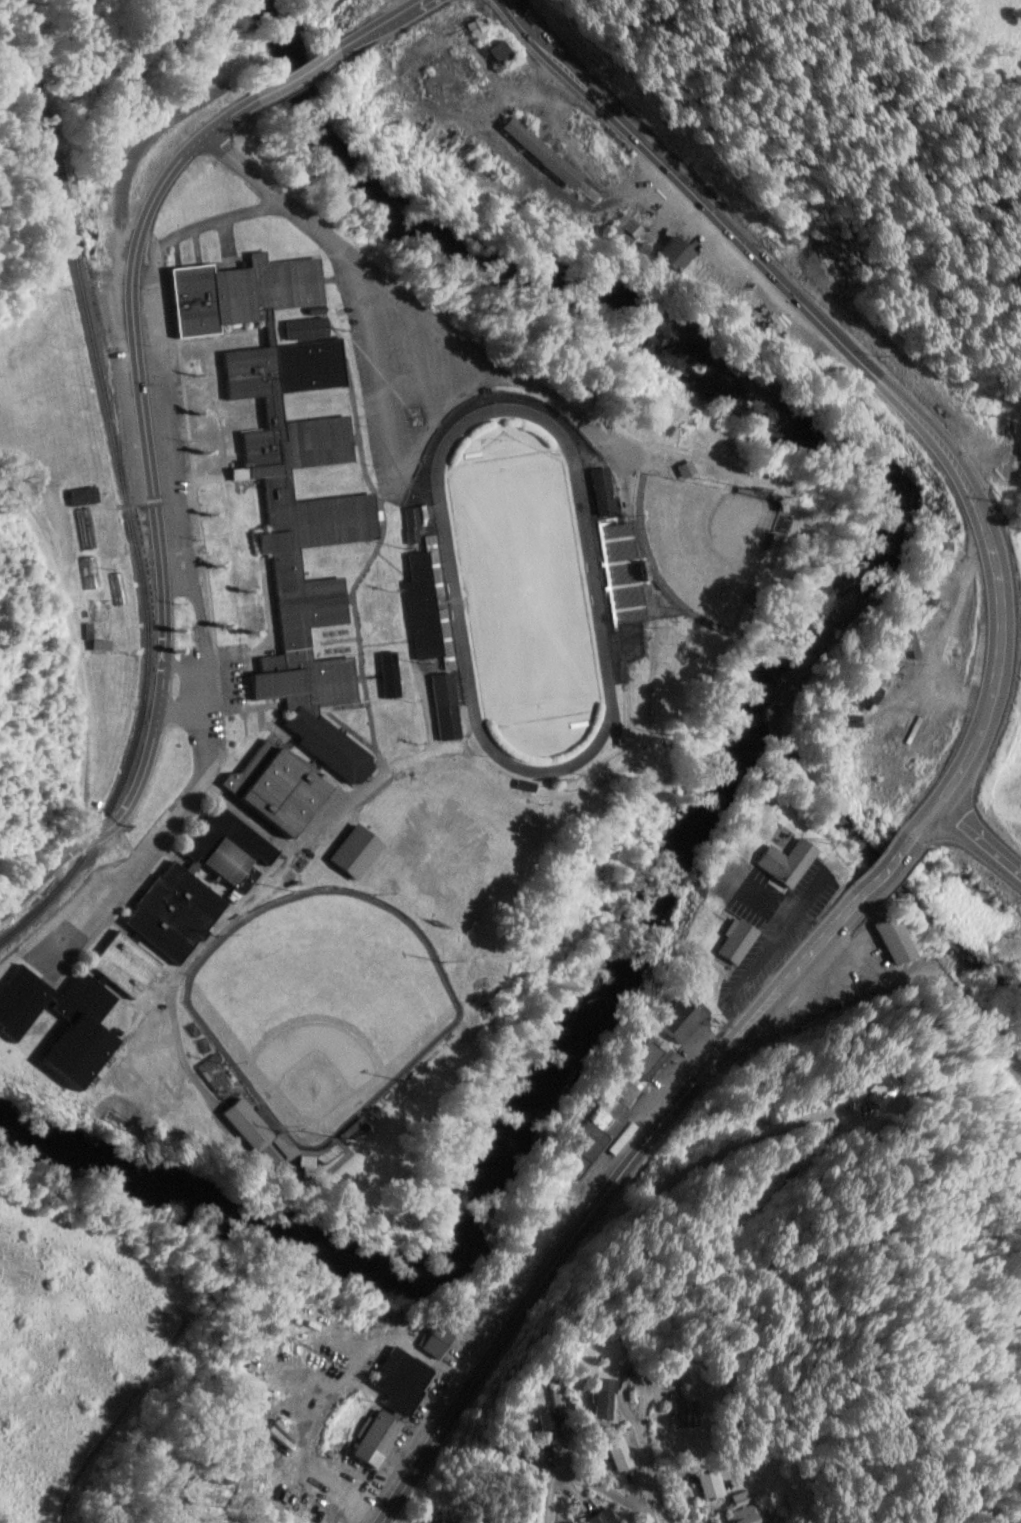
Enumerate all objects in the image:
road: (392, 17)
building: (483, 31)
building: (506, 51)
road: (301, 71)
building: (547, 152)
building: (631, 225)
building: (246, 291)
building: (761, 312)
building: (162, 318)
building: (313, 365)
building: (690, 468)
railway: (125, 489)
building: (606, 490)
building: (86, 494)
building: (86, 526)
road: (157, 527)
building: (620, 551)
building: (315, 587)
building: (426, 604)
road: (76, 671)
building: (448, 704)
river: (752, 723)
road: (969, 763)
building: (282, 784)
building: (231, 844)
road: (981, 848)
building: (798, 859)
building: (179, 909)
building: (899, 938)
building: (741, 939)
building: (129, 962)
building: (88, 987)
building: (686, 1016)
building: (650, 1057)
building: (604, 1124)
building: (263, 1129)
building: (439, 1340)
building: (404, 1377)
building: (678, 1378)
building: (567, 1396)
building: (612, 1396)
building: (690, 1413)
building: (557, 1424)
building: (381, 1437)
building: (624, 1454)
road: (589, 1477)
building: (712, 1484)
building: (748, 1514)
building: (603, 1517)
building: (446, 1521)

